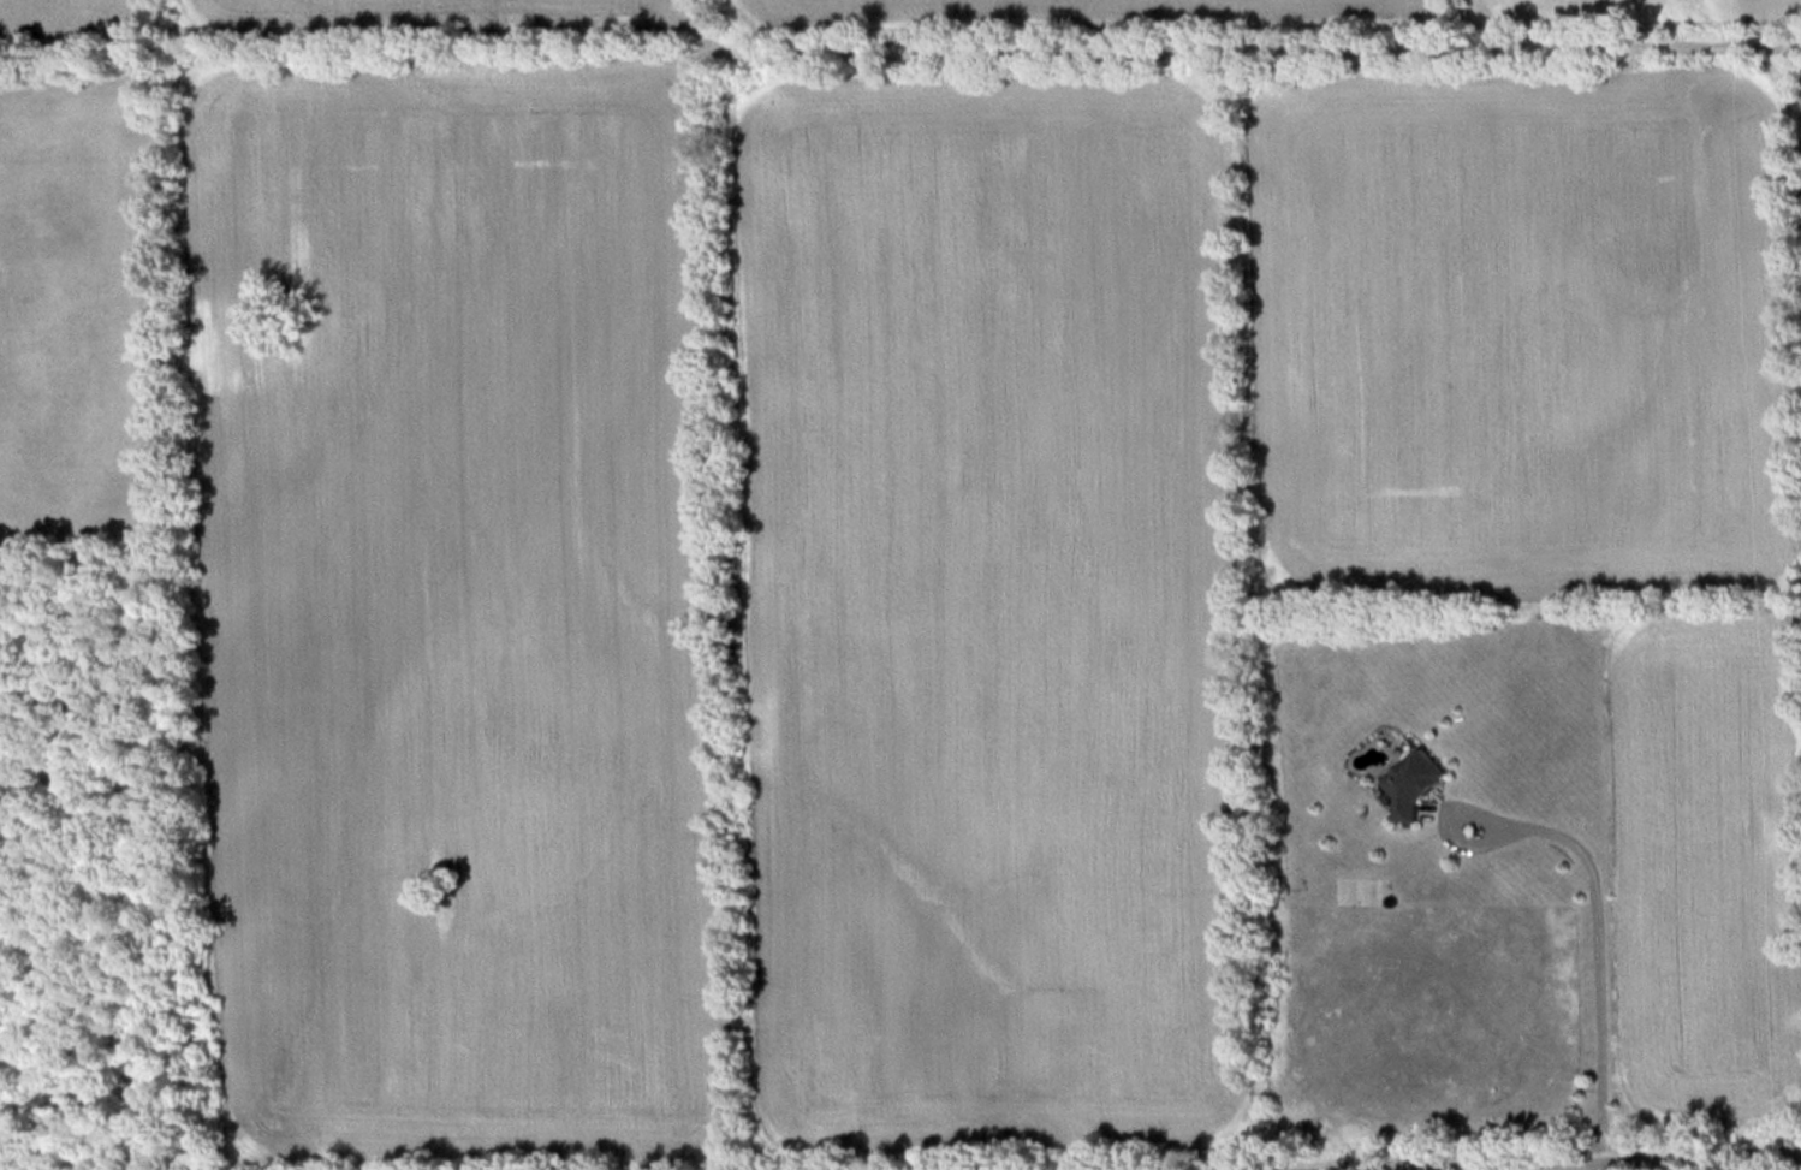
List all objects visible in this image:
building: (1413, 780)
road: (1597, 928)
road: (1666, 1148)
road: (1313, 1162)
road: (1532, 1162)

